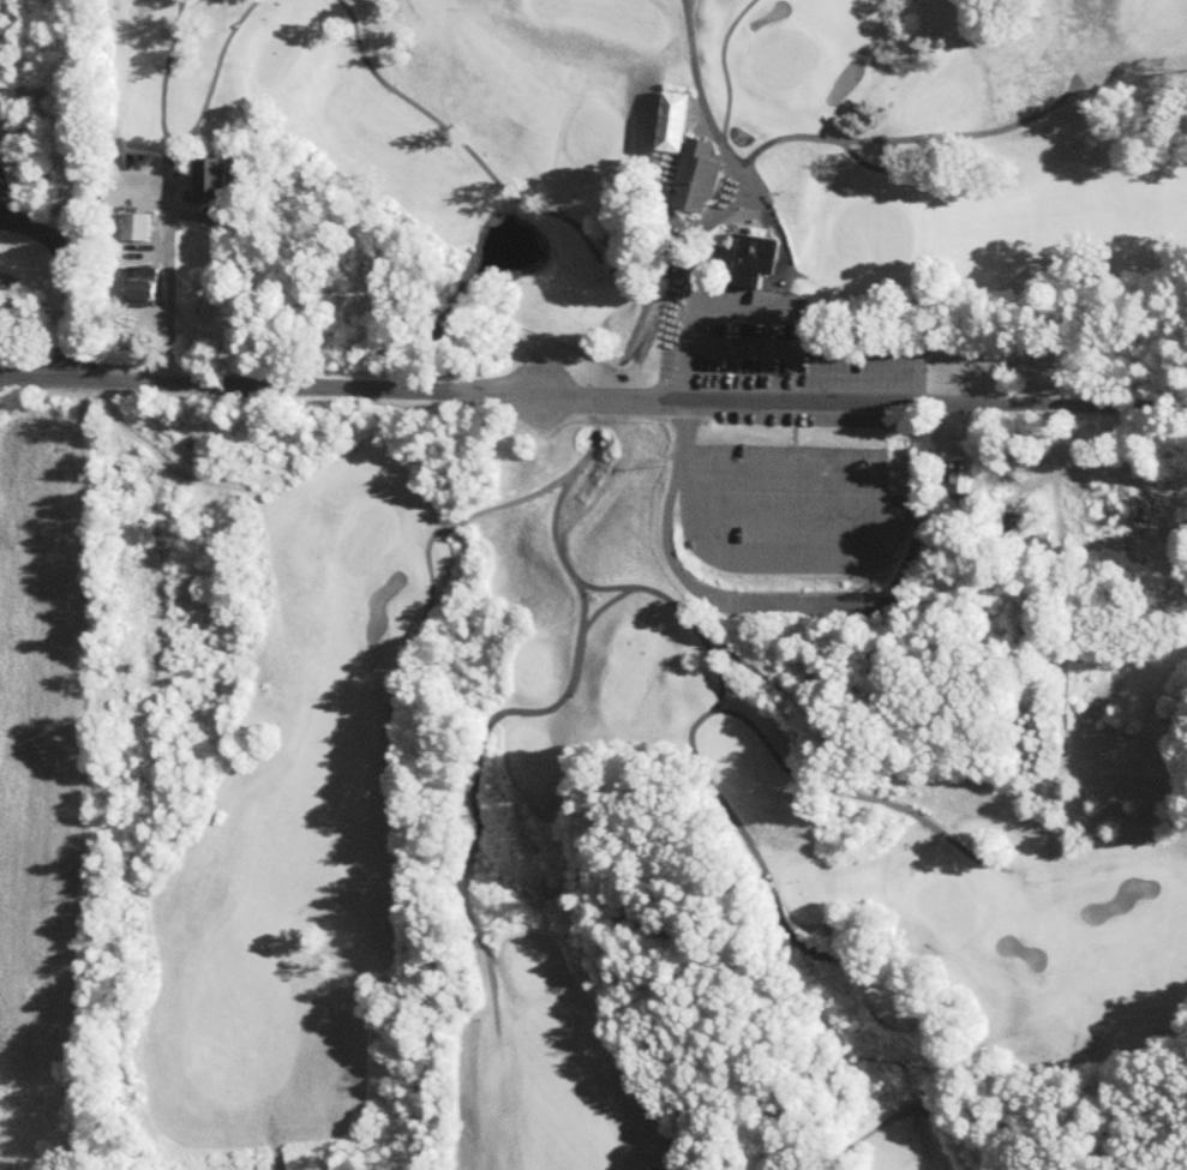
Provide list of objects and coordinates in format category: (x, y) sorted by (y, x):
road: (227, 49)
road: (725, 66)
road: (166, 94)
road: (913, 136)
road: (738, 152)
road: (877, 166)
building: (222, 182)
road: (500, 186)
building: (727, 223)
building: (138, 229)
road: (62, 283)
road: (173, 290)
building: (143, 292)
road: (793, 301)
road: (756, 338)
parking lot: (763, 340)
road: (593, 395)
building: (960, 480)
building: (1103, 490)
road: (486, 506)
road: (789, 508)
building: (1014, 524)
road: (864, 557)
park: (664, 593)
road: (605, 600)
road: (466, 787)
road: (859, 793)
road: (757, 854)
road: (271, 1141)

